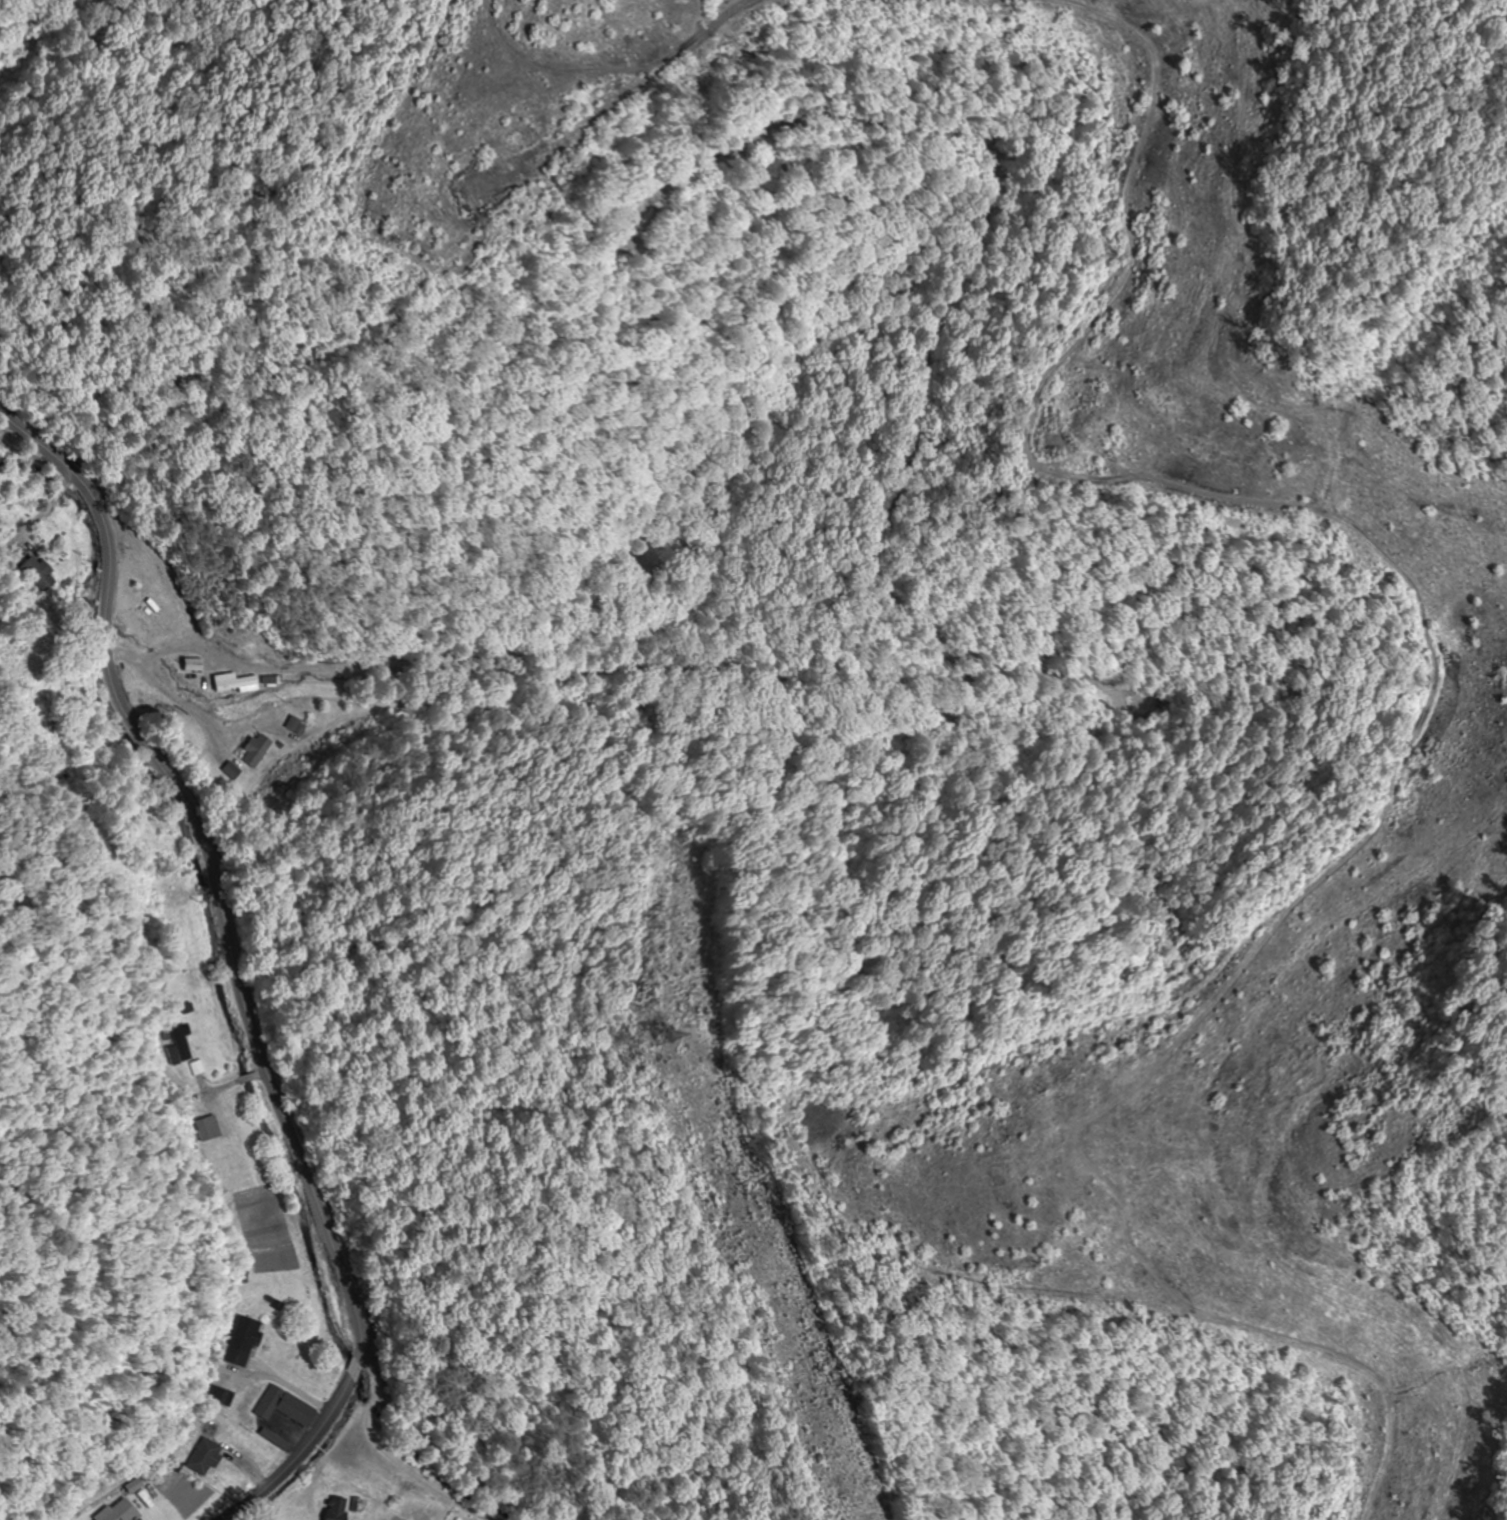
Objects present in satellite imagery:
building: (36, 572)
road: (124, 648)
building: (190, 664)
building: (272, 680)
building: (233, 681)
building: (294, 725)
building: (254, 751)
road: (213, 864)
power tower: (655, 1038)
building: (181, 1041)
building: (209, 1128)
building: (229, 1166)
building: (240, 1341)
building: (219, 1396)
building: (283, 1407)
building: (273, 1440)
road: (299, 1451)
road: (437, 1452)
building: (202, 1457)
building: (335, 1508)
building: (118, 1511)

